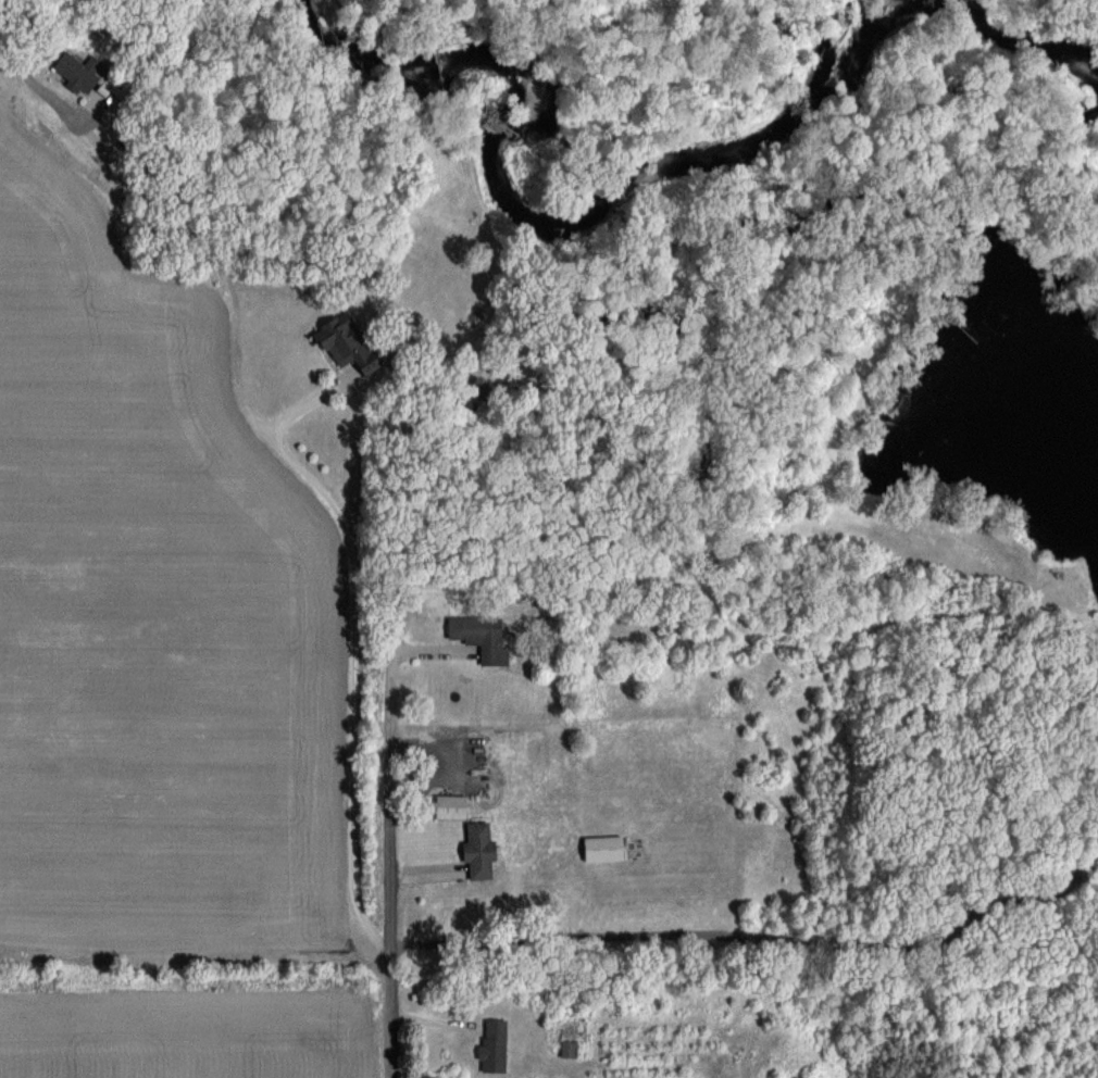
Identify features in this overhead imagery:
building: (74, 70)
river: (627, 173)
building: (342, 343)
road: (329, 502)
building: (482, 637)
building: (450, 805)
building: (602, 848)
building: (478, 850)
road: (385, 864)
road: (753, 939)
crop: (186, 1038)
building: (492, 1044)
building: (569, 1049)

